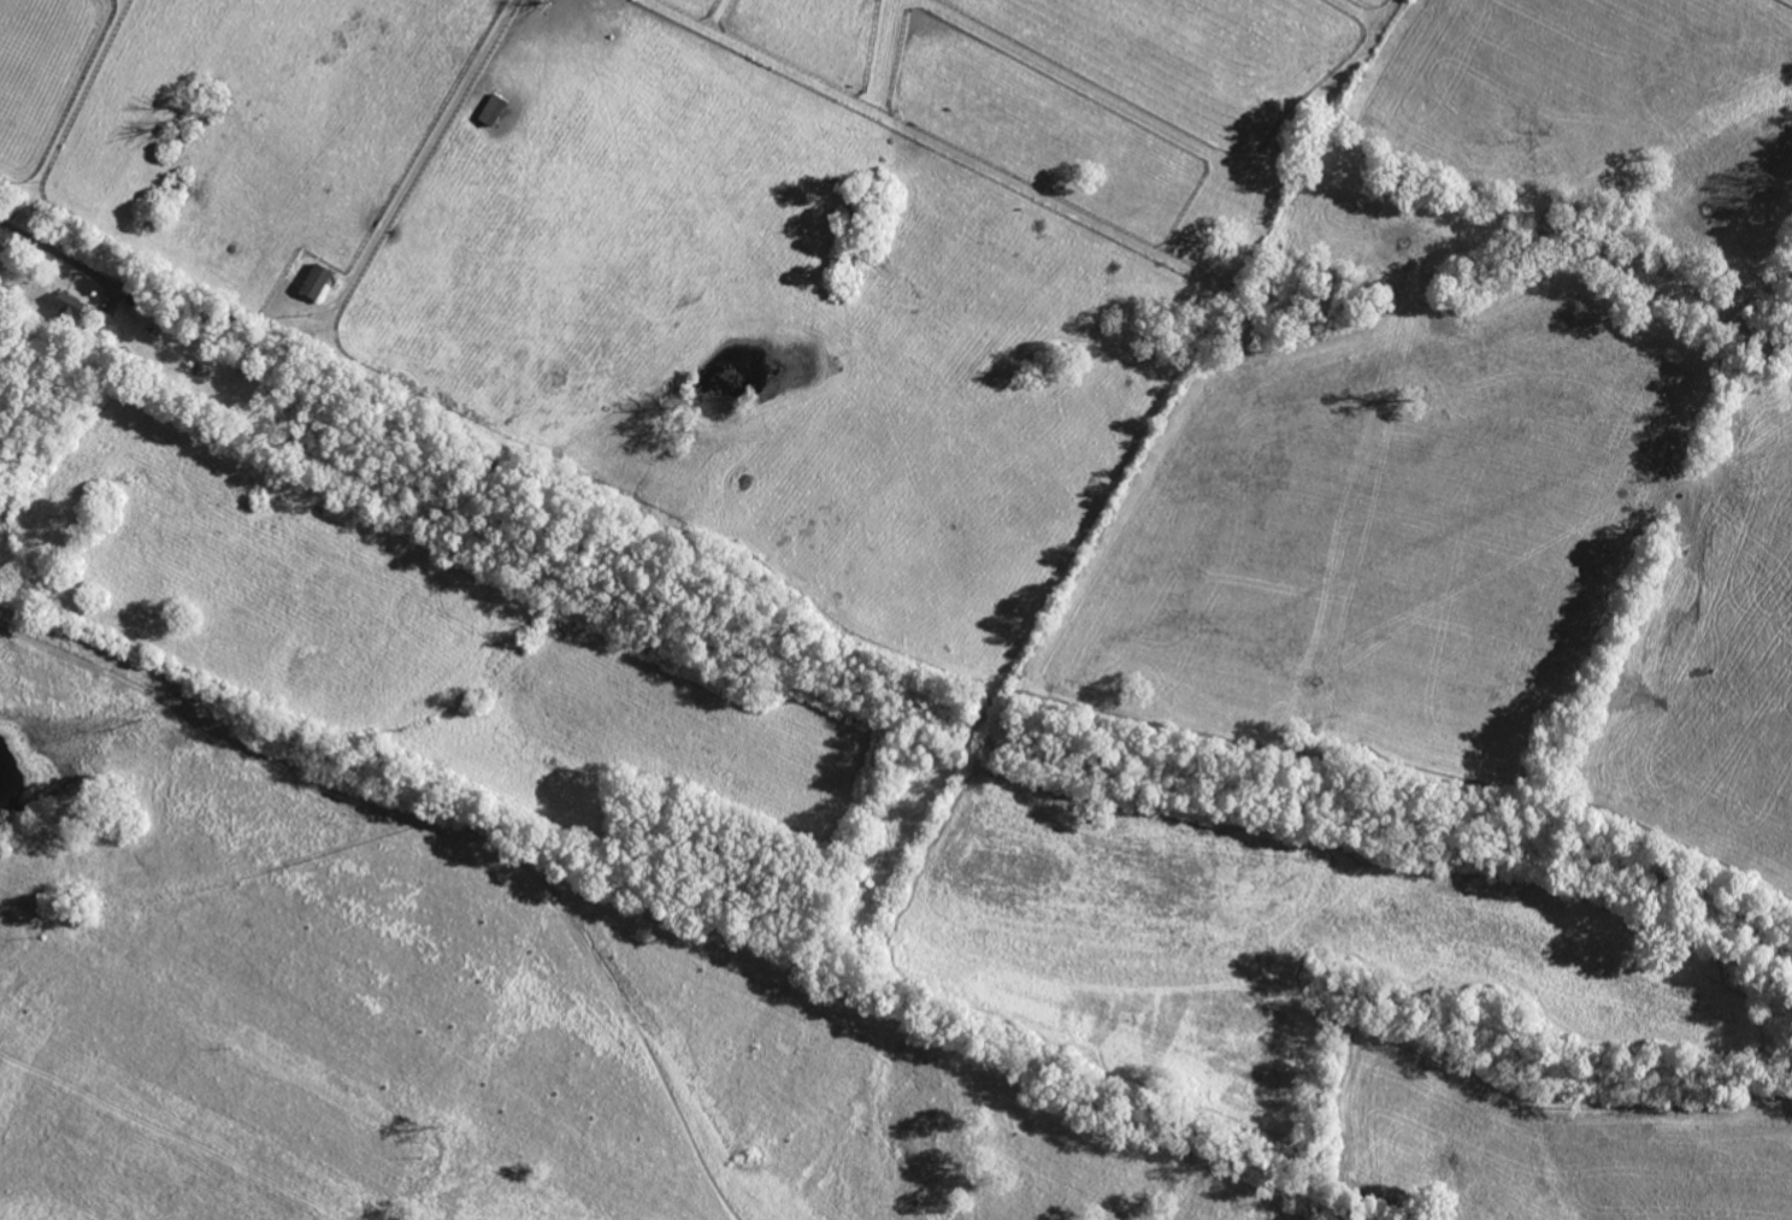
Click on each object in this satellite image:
building: (496, 112)
road: (431, 152)
building: (320, 283)
building: (72, 310)

